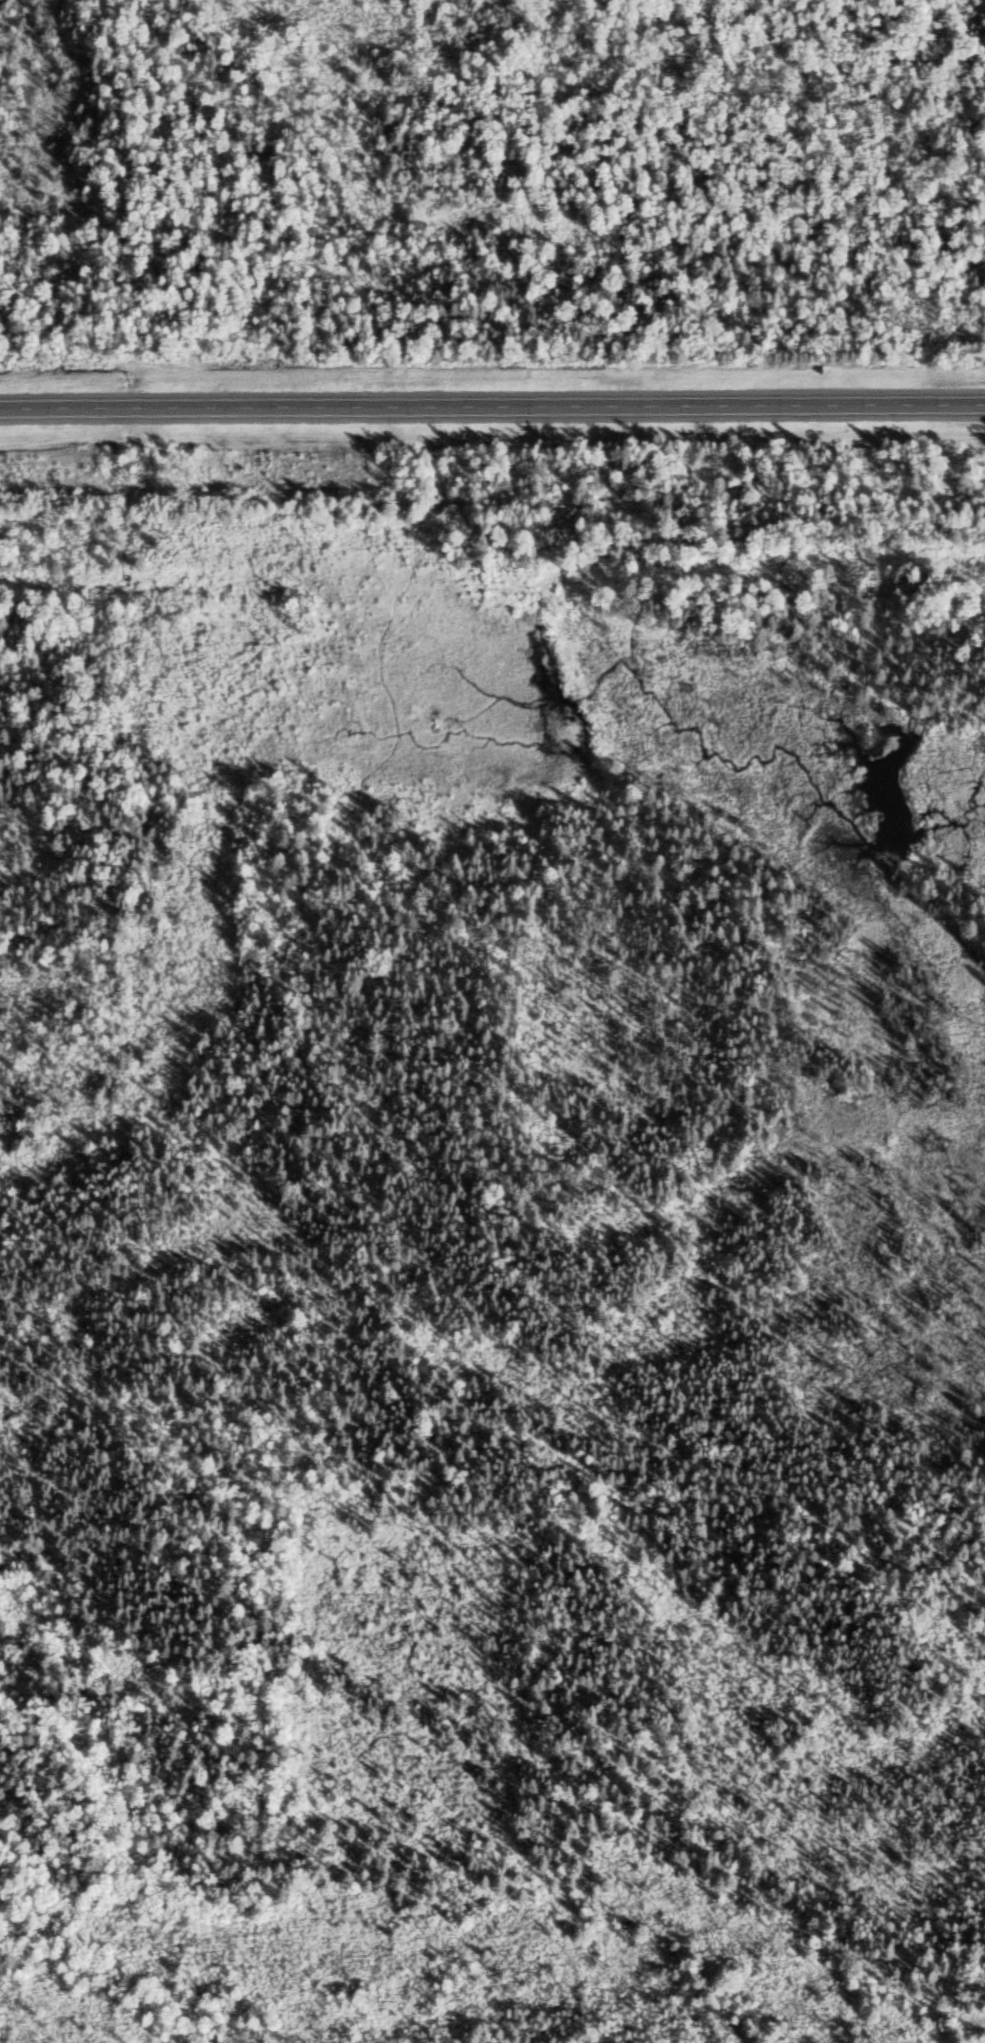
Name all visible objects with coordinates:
road: (492, 402)

